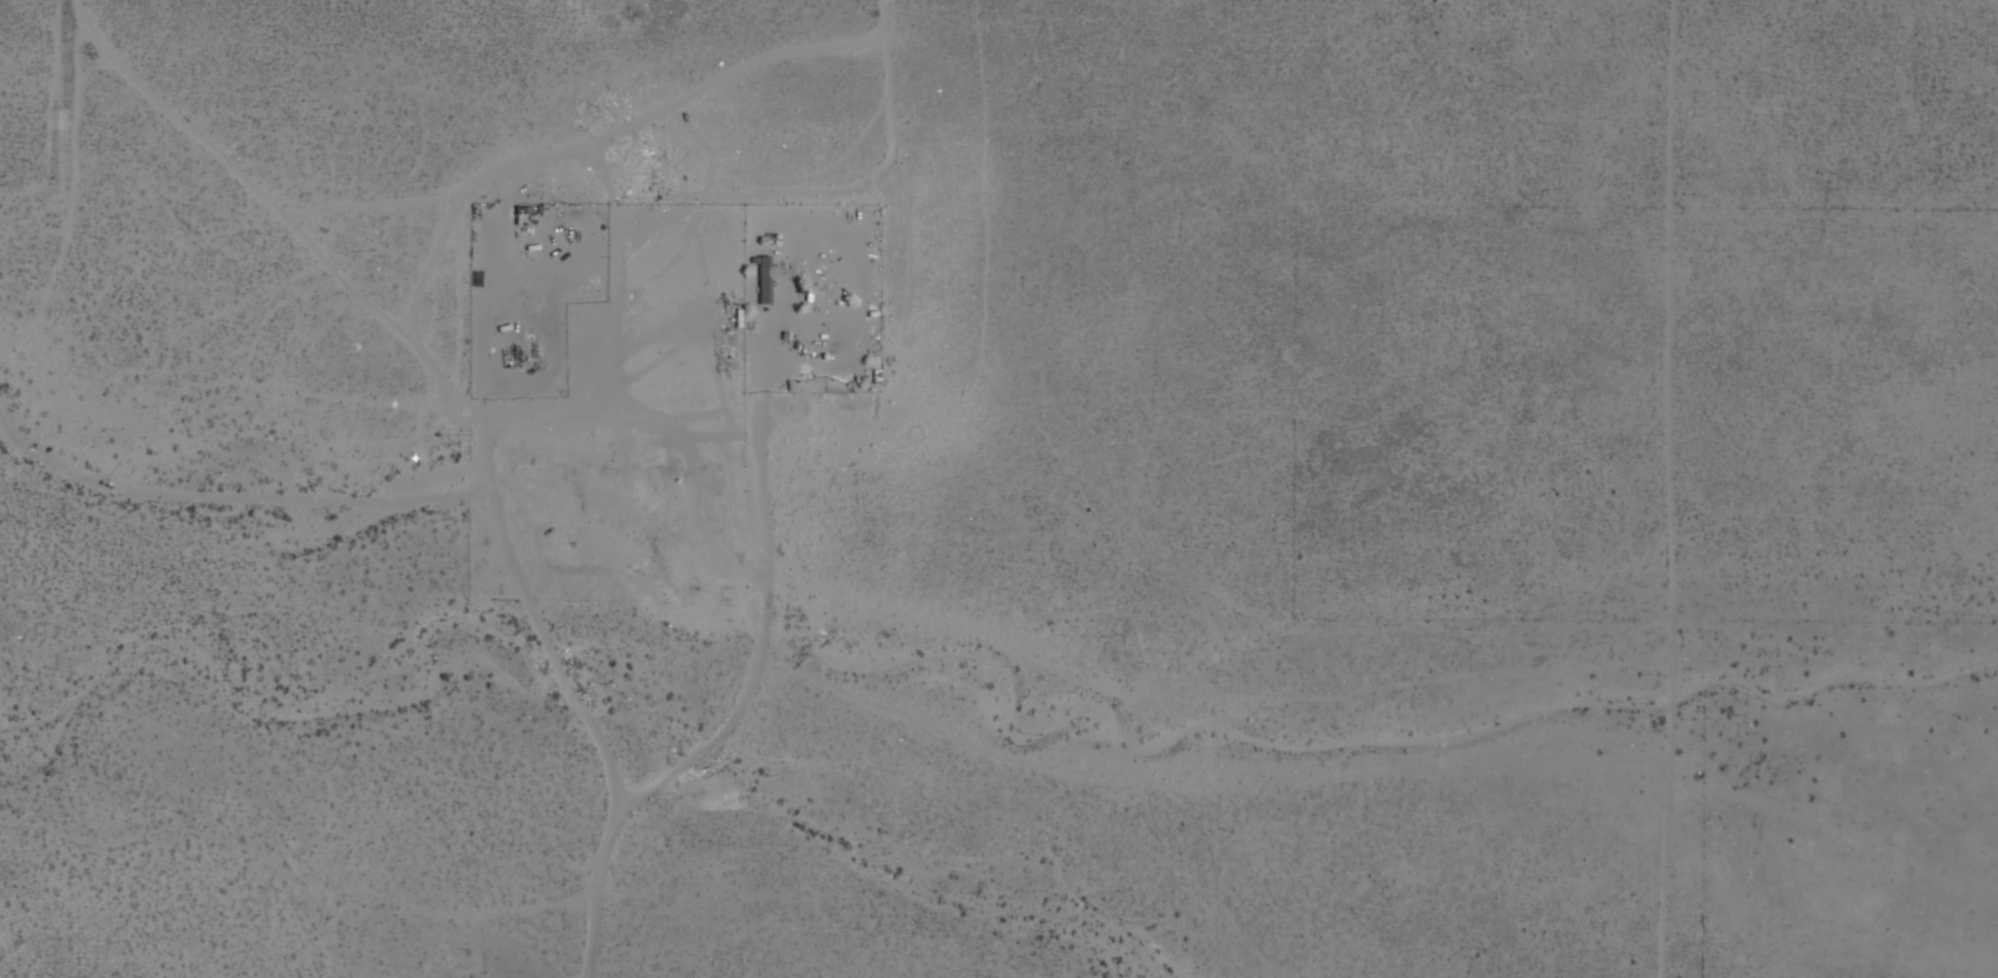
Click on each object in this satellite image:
building: (766, 275)
road: (577, 700)

